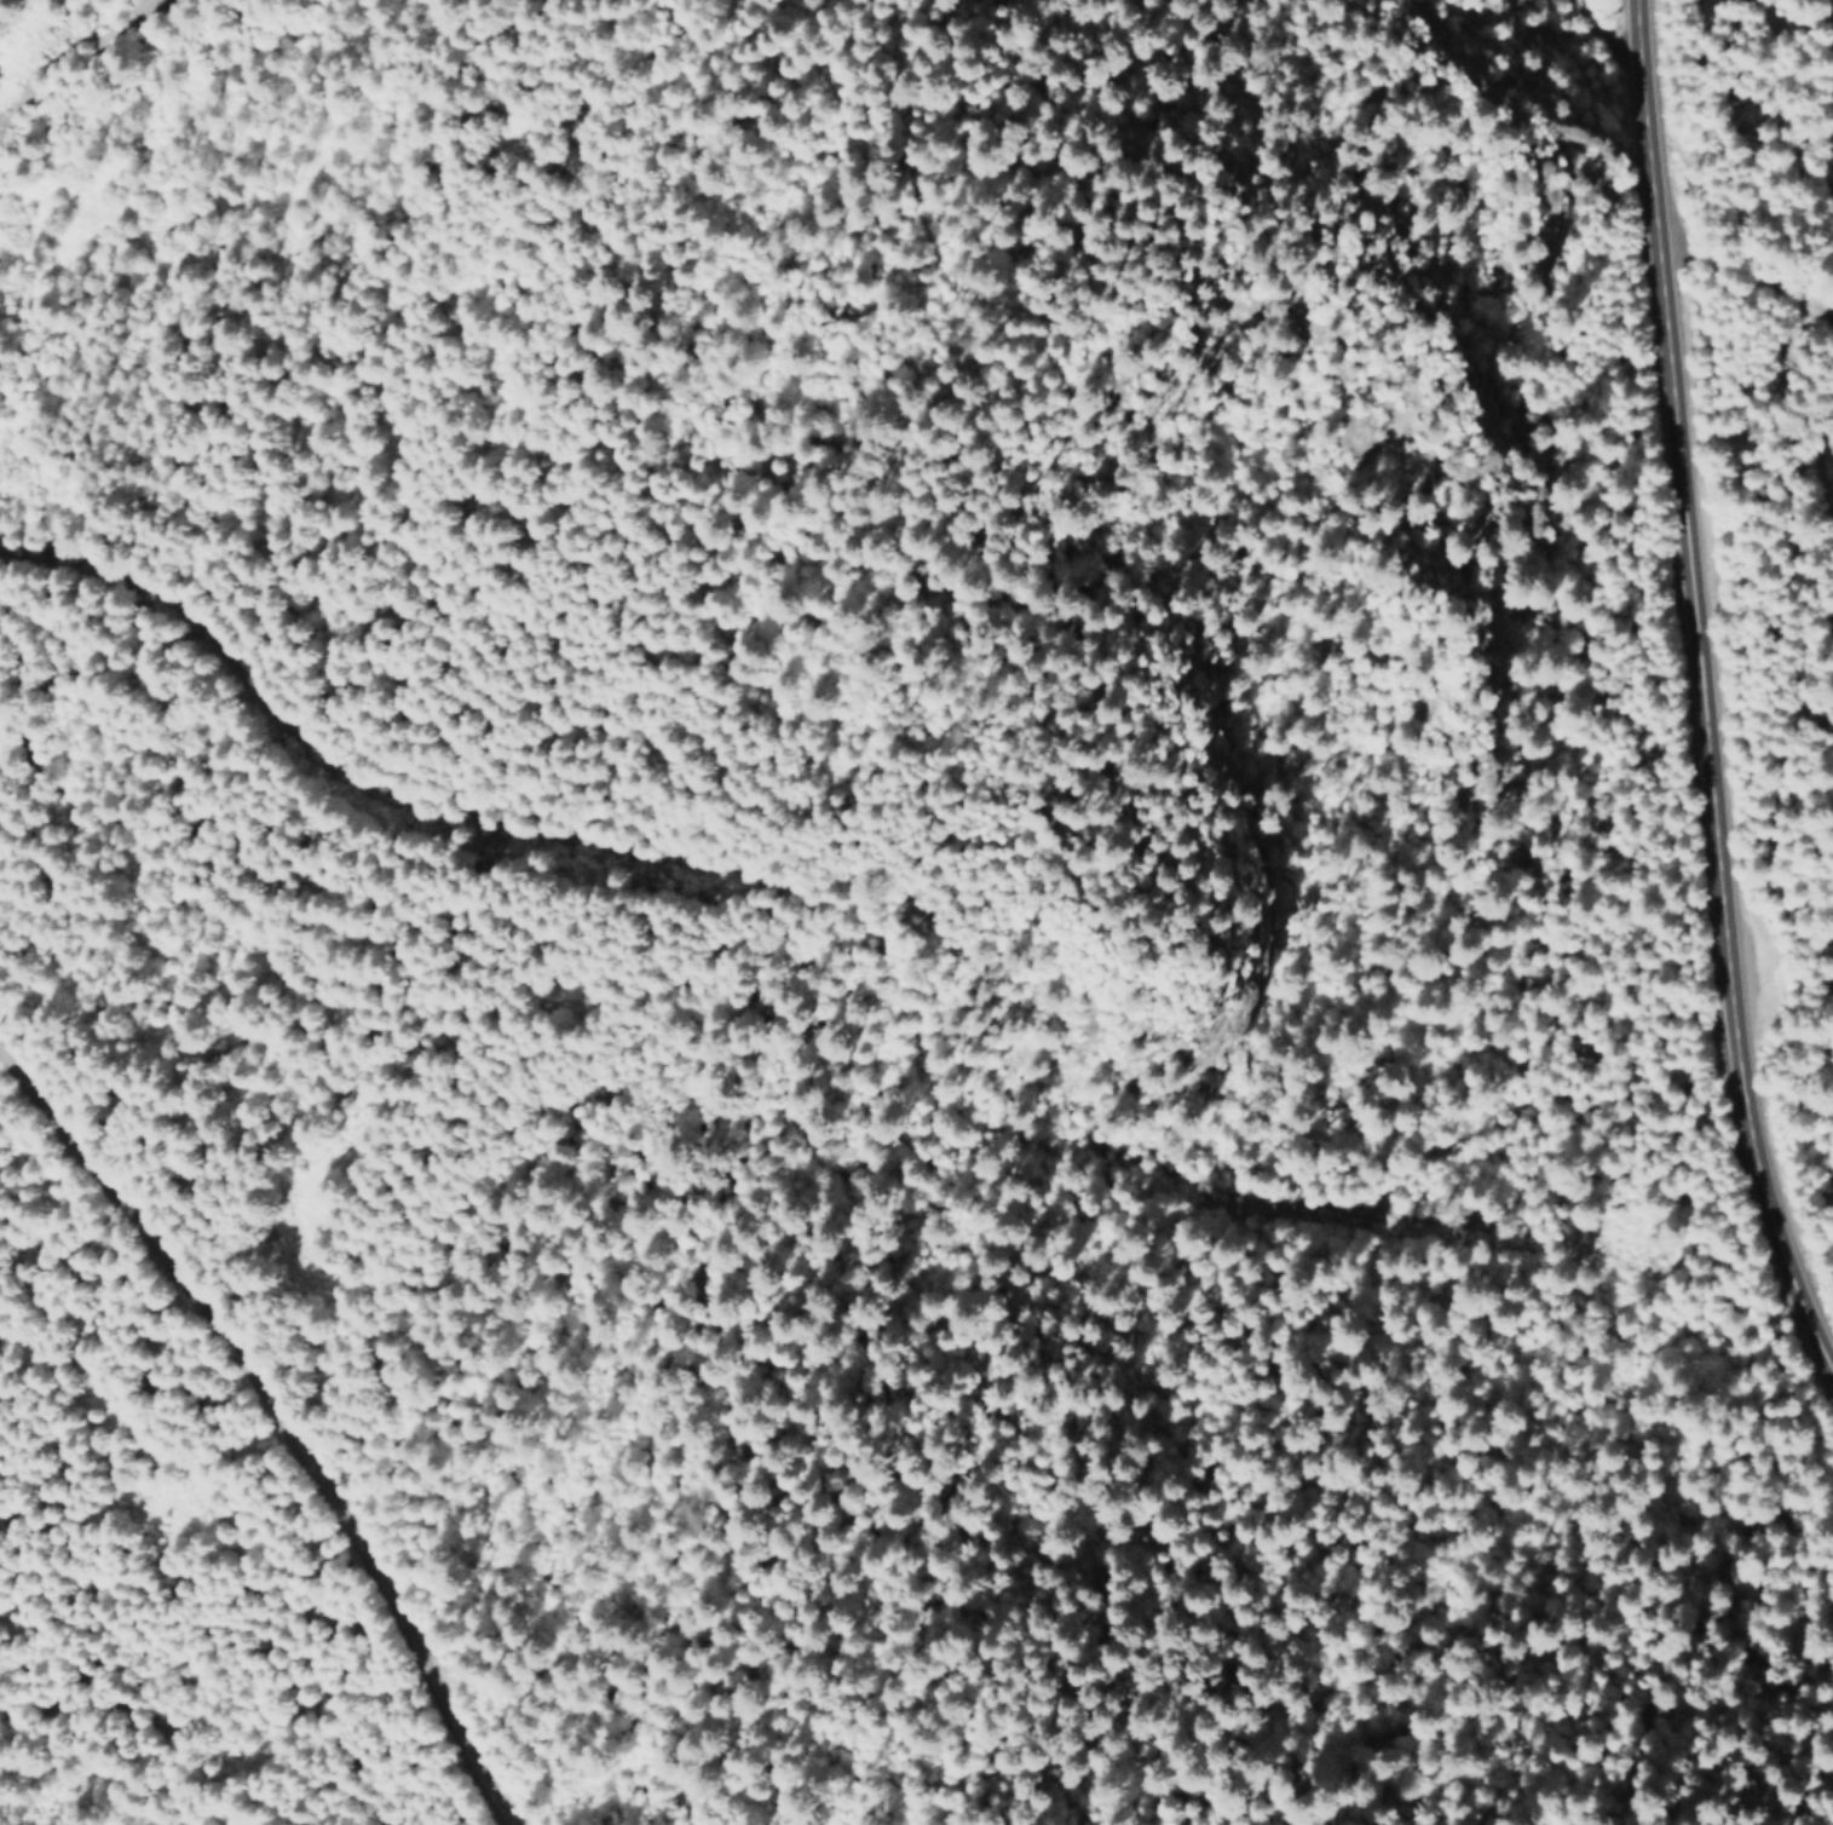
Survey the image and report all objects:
road: (1595, 31)
road: (1700, 709)
road: (276, 1421)

